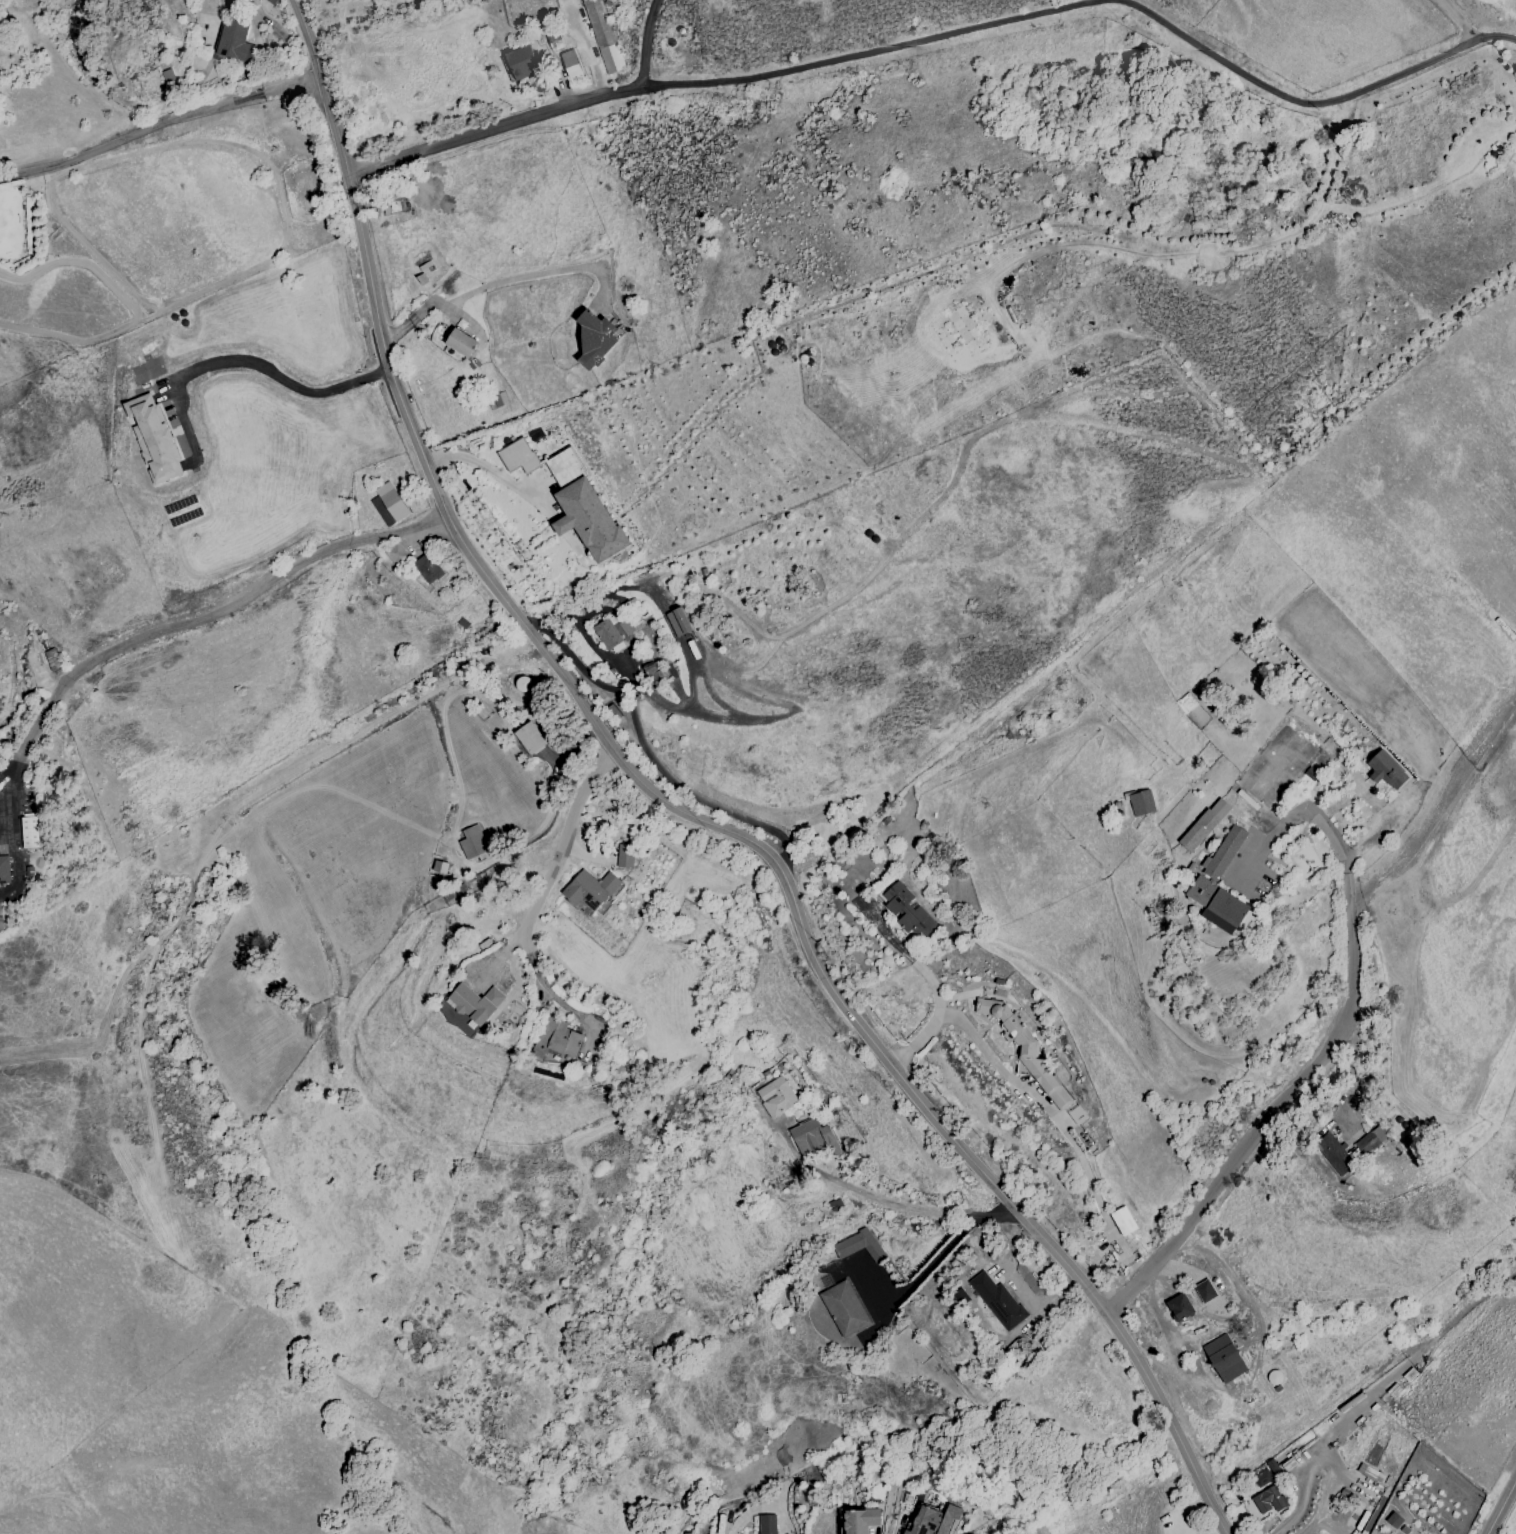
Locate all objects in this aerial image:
road: (1455, 19)
building: (602, 35)
road: (948, 37)
building: (236, 41)
road: (646, 43)
building: (521, 61)
building: (571, 65)
road: (161, 125)
road: (491, 284)
building: (595, 338)
building: (461, 342)
road: (283, 380)
building: (153, 437)
building: (517, 456)
road: (478, 463)
building: (388, 503)
building: (588, 520)
building: (395, 553)
building: (427, 568)
road: (247, 599)
building: (677, 621)
building: (624, 626)
building: (606, 634)
road: (37, 729)
building: (529, 737)
road: (646, 752)
road: (8, 766)
building: (1386, 770)
building: (1140, 802)
road: (684, 812)
building: (1203, 824)
road: (12, 830)
building: (30, 830)
building: (472, 841)
building: (1222, 852)
building: (624, 855)
building: (440, 866)
building: (5, 869)
road: (547, 871)
building: (589, 889)
building: (1216, 904)
building: (906, 909)
building: (475, 1002)
building: (556, 1041)
building: (1023, 1048)
road: (1297, 1082)
building: (775, 1096)
road: (1039, 1099)
building: (812, 1138)
building: (1370, 1139)
building: (1335, 1154)
road: (914, 1208)
building: (1122, 1220)
building: (858, 1245)
building: (1204, 1290)
building: (999, 1300)
building: (1178, 1307)
building: (843, 1308)
building: (1223, 1357)
building: (1265, 1473)
road: (1301, 1491)
building: (1268, 1499)
road: (1503, 1509)
road: (744, 1514)
building: (1393, 1519)
building: (862, 1520)
building: (934, 1520)
building: (768, 1524)

